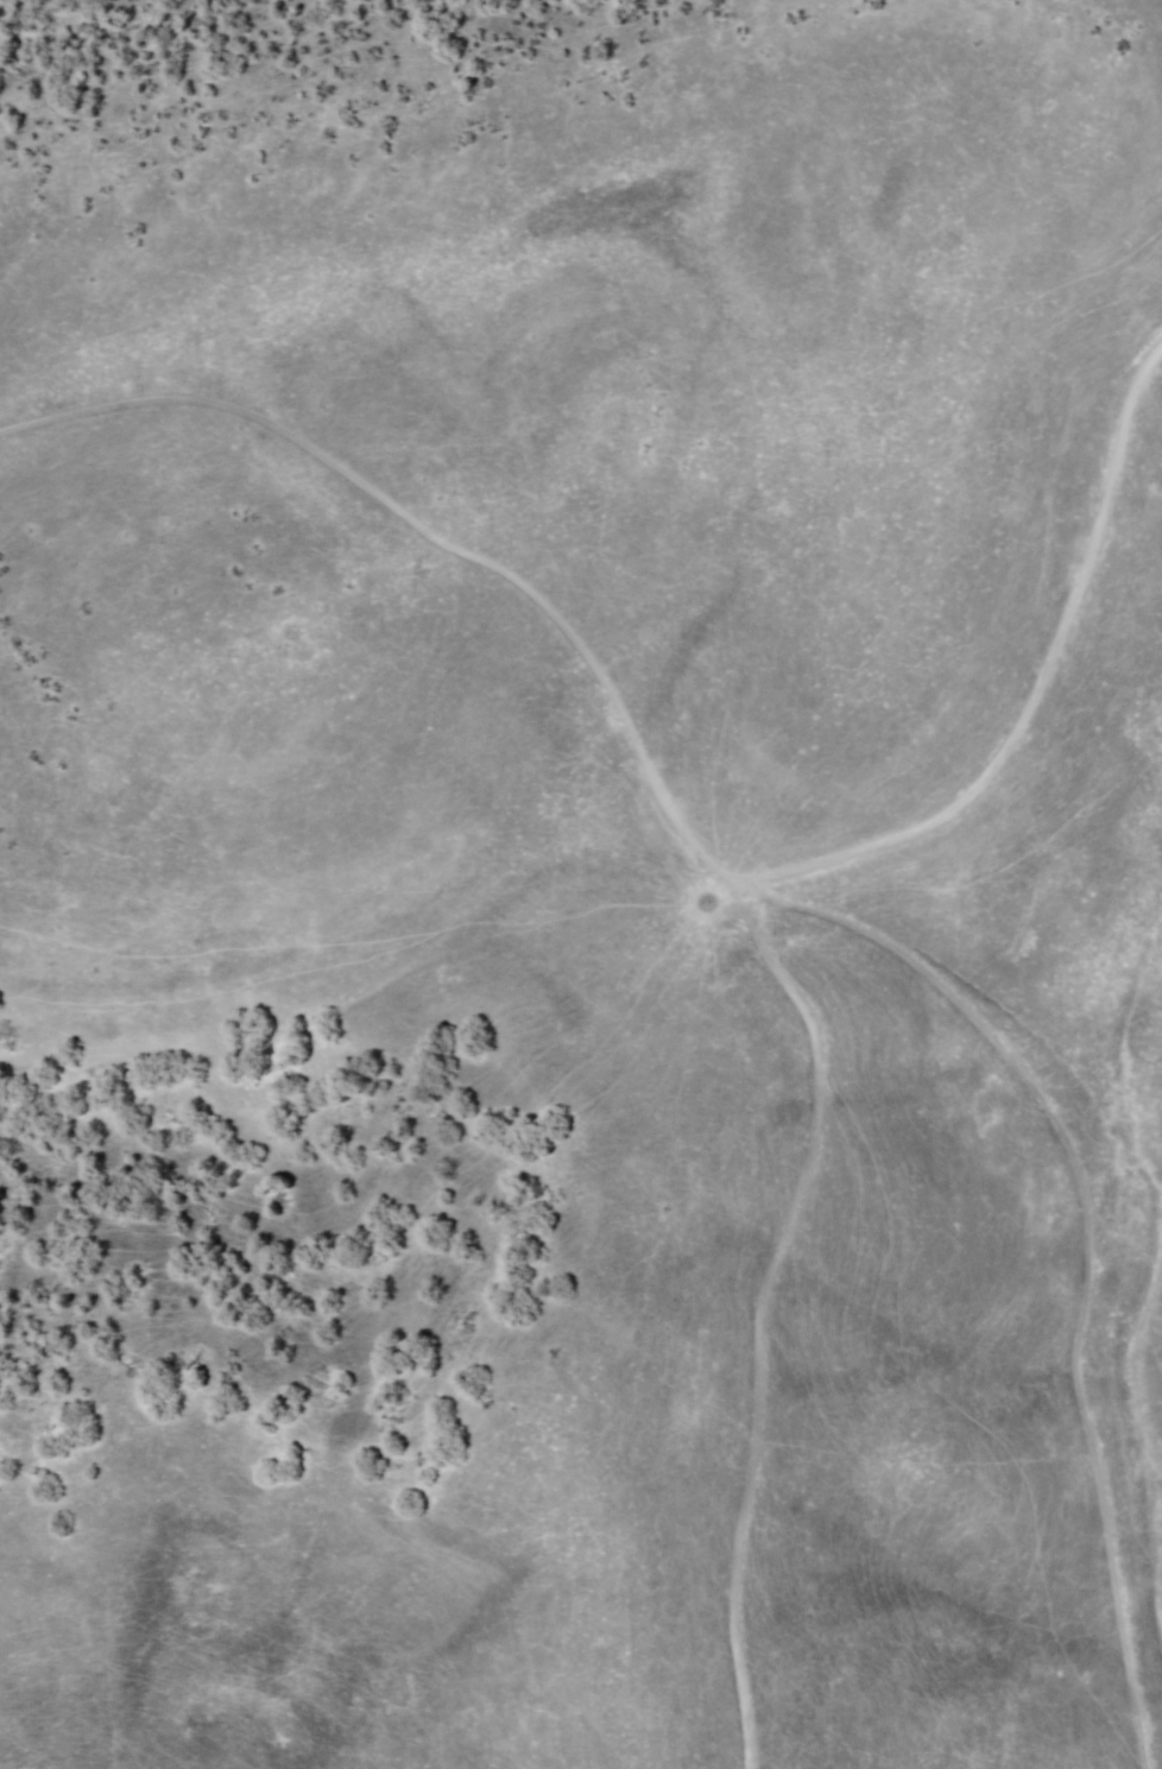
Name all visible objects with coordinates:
road: (838, 985)

